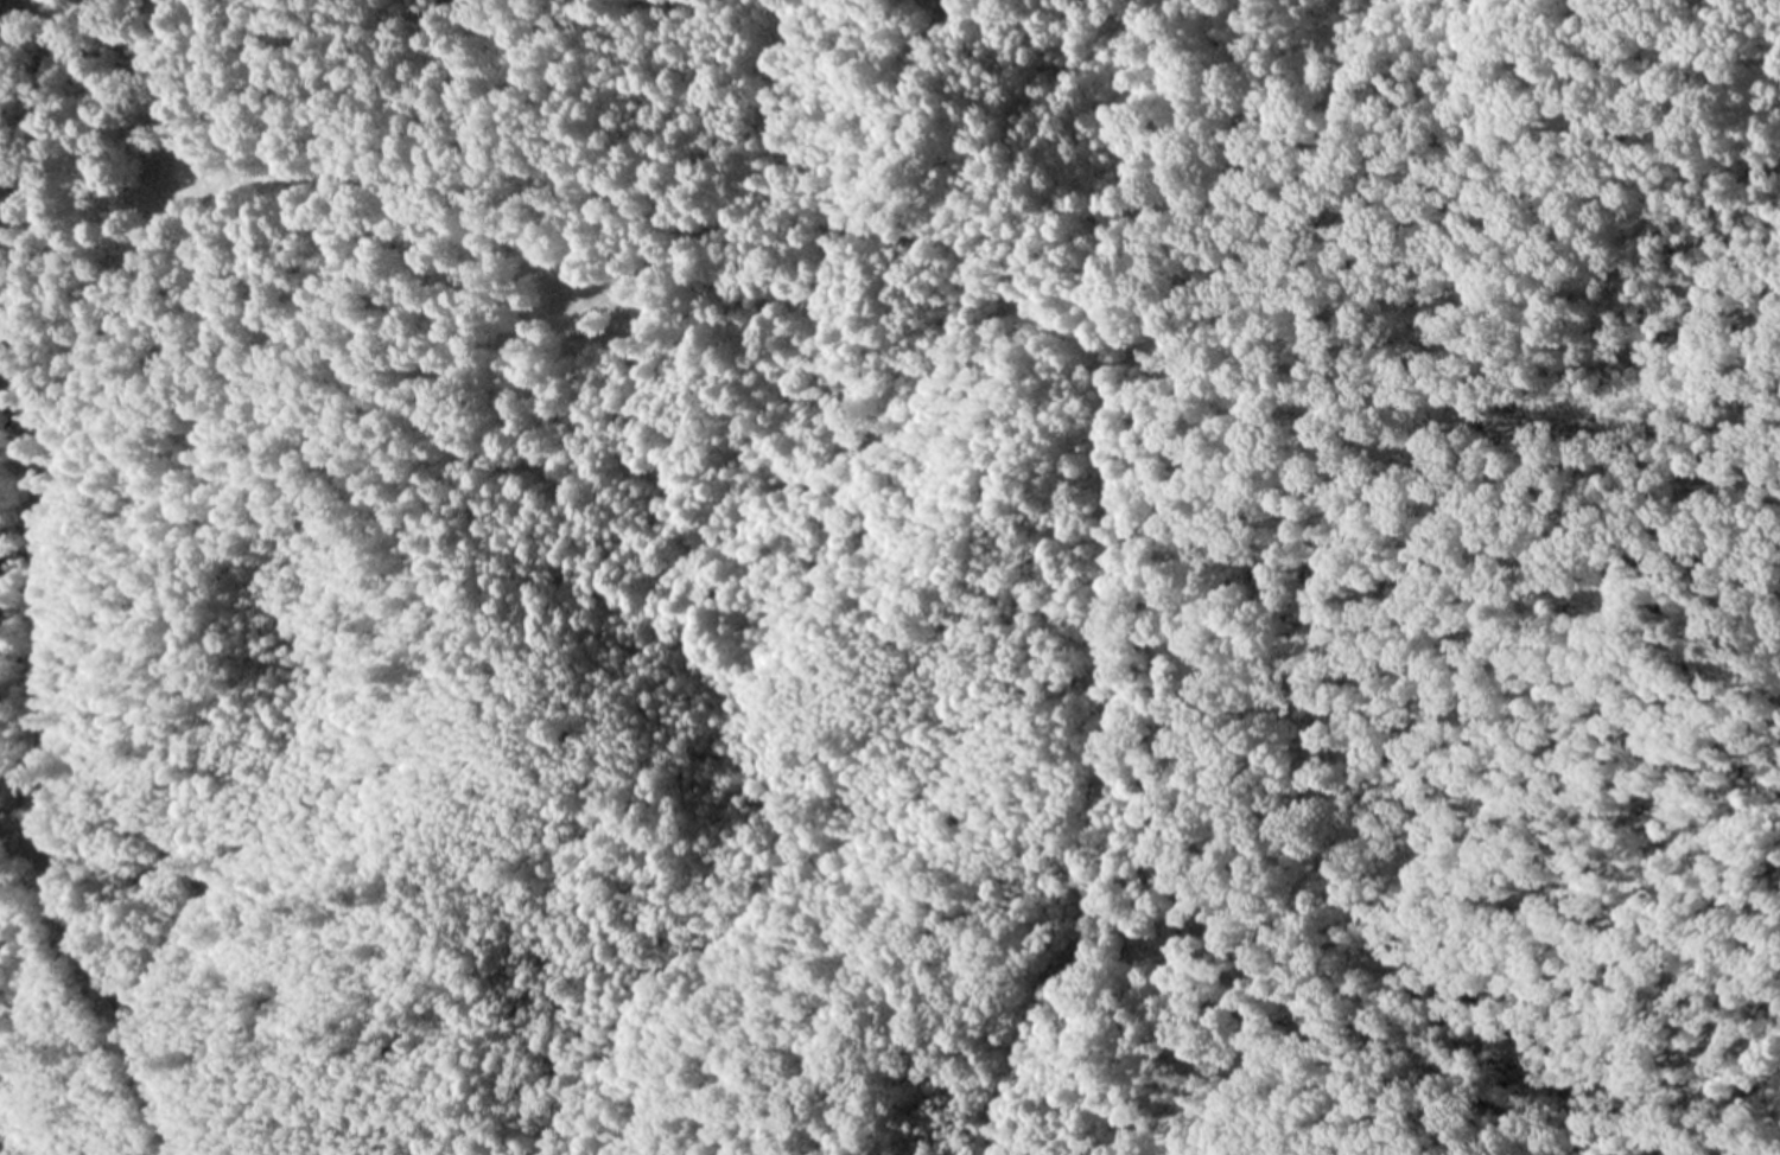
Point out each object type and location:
road: (23, 426)
road: (88, 968)

